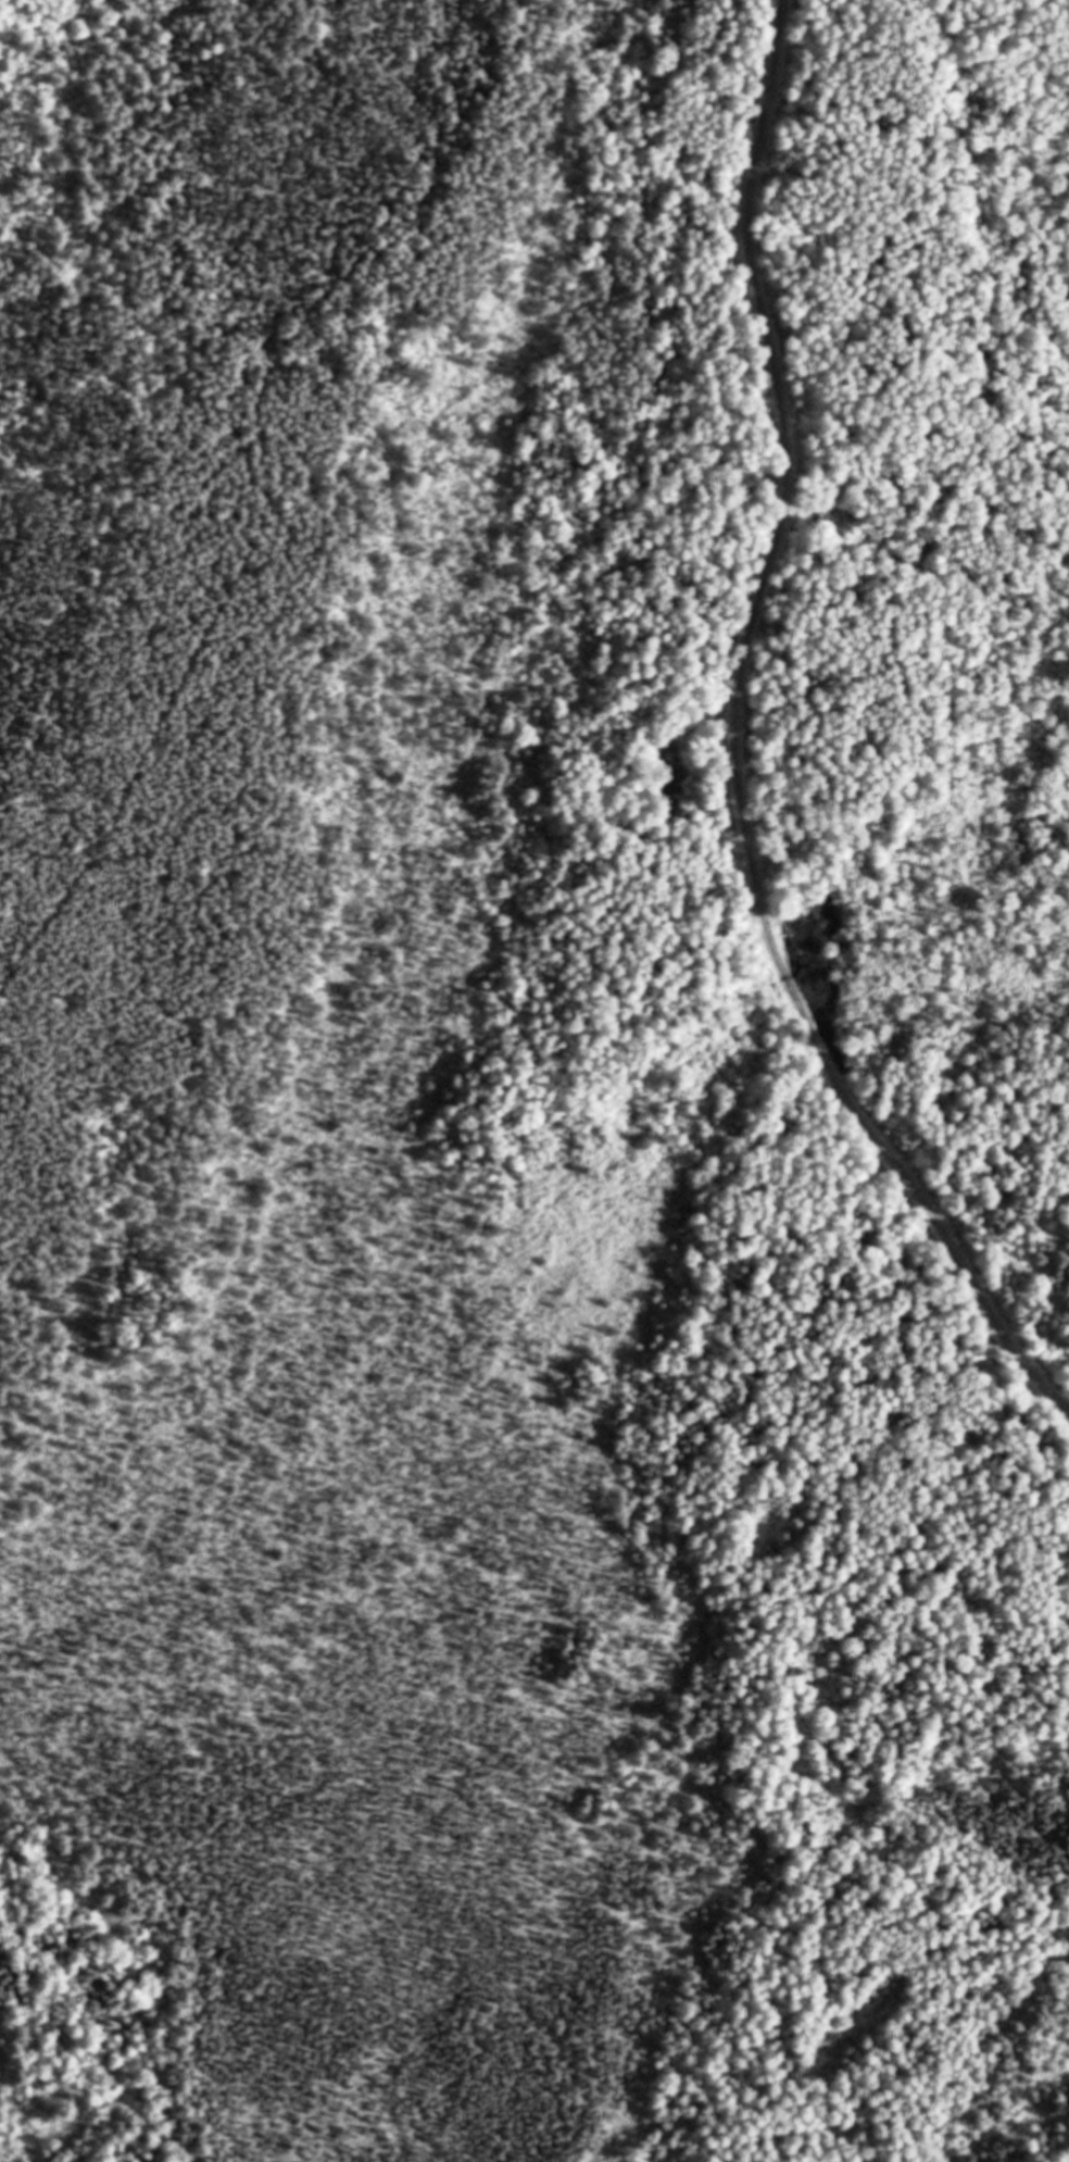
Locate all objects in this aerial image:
road: (733, 748)

